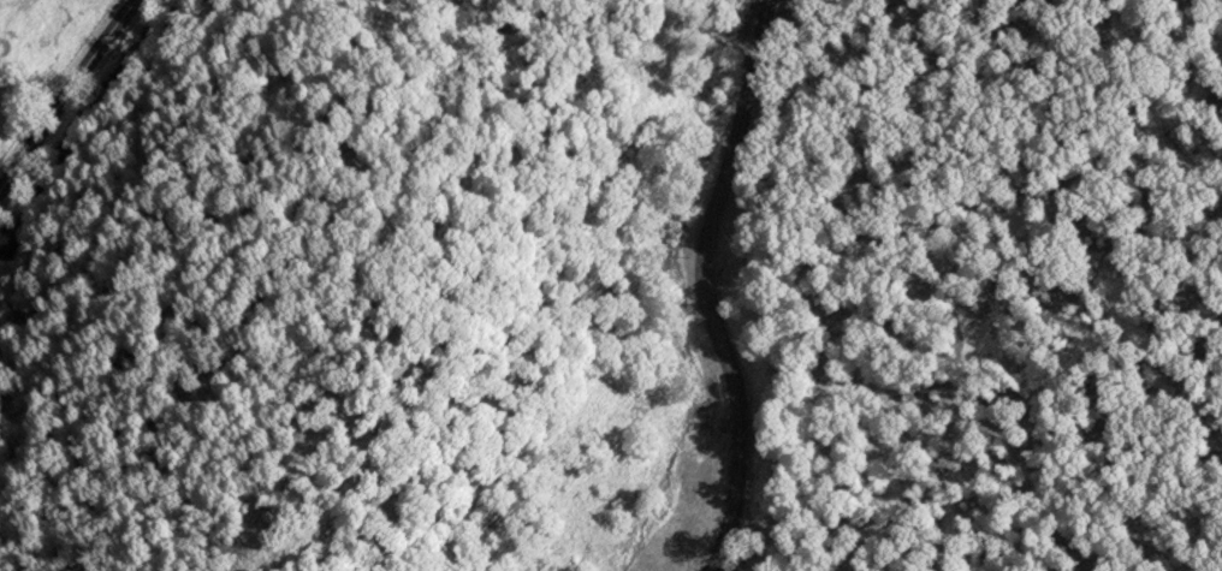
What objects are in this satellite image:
road: (71, 99)

